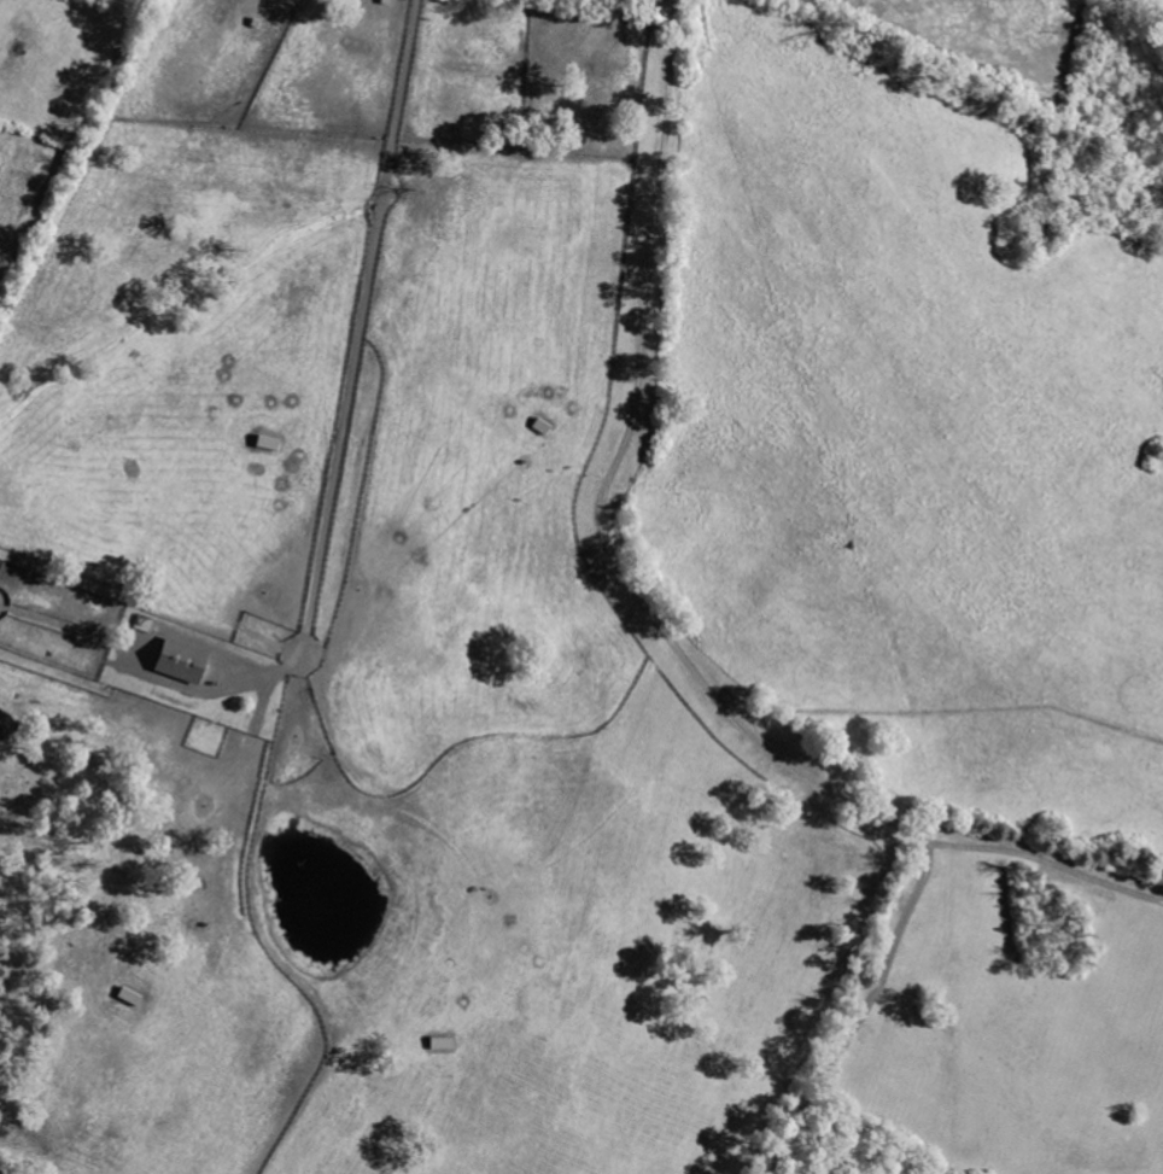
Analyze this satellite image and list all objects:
road: (360, 331)
road: (676, 652)
building: (180, 662)
road: (1046, 865)

